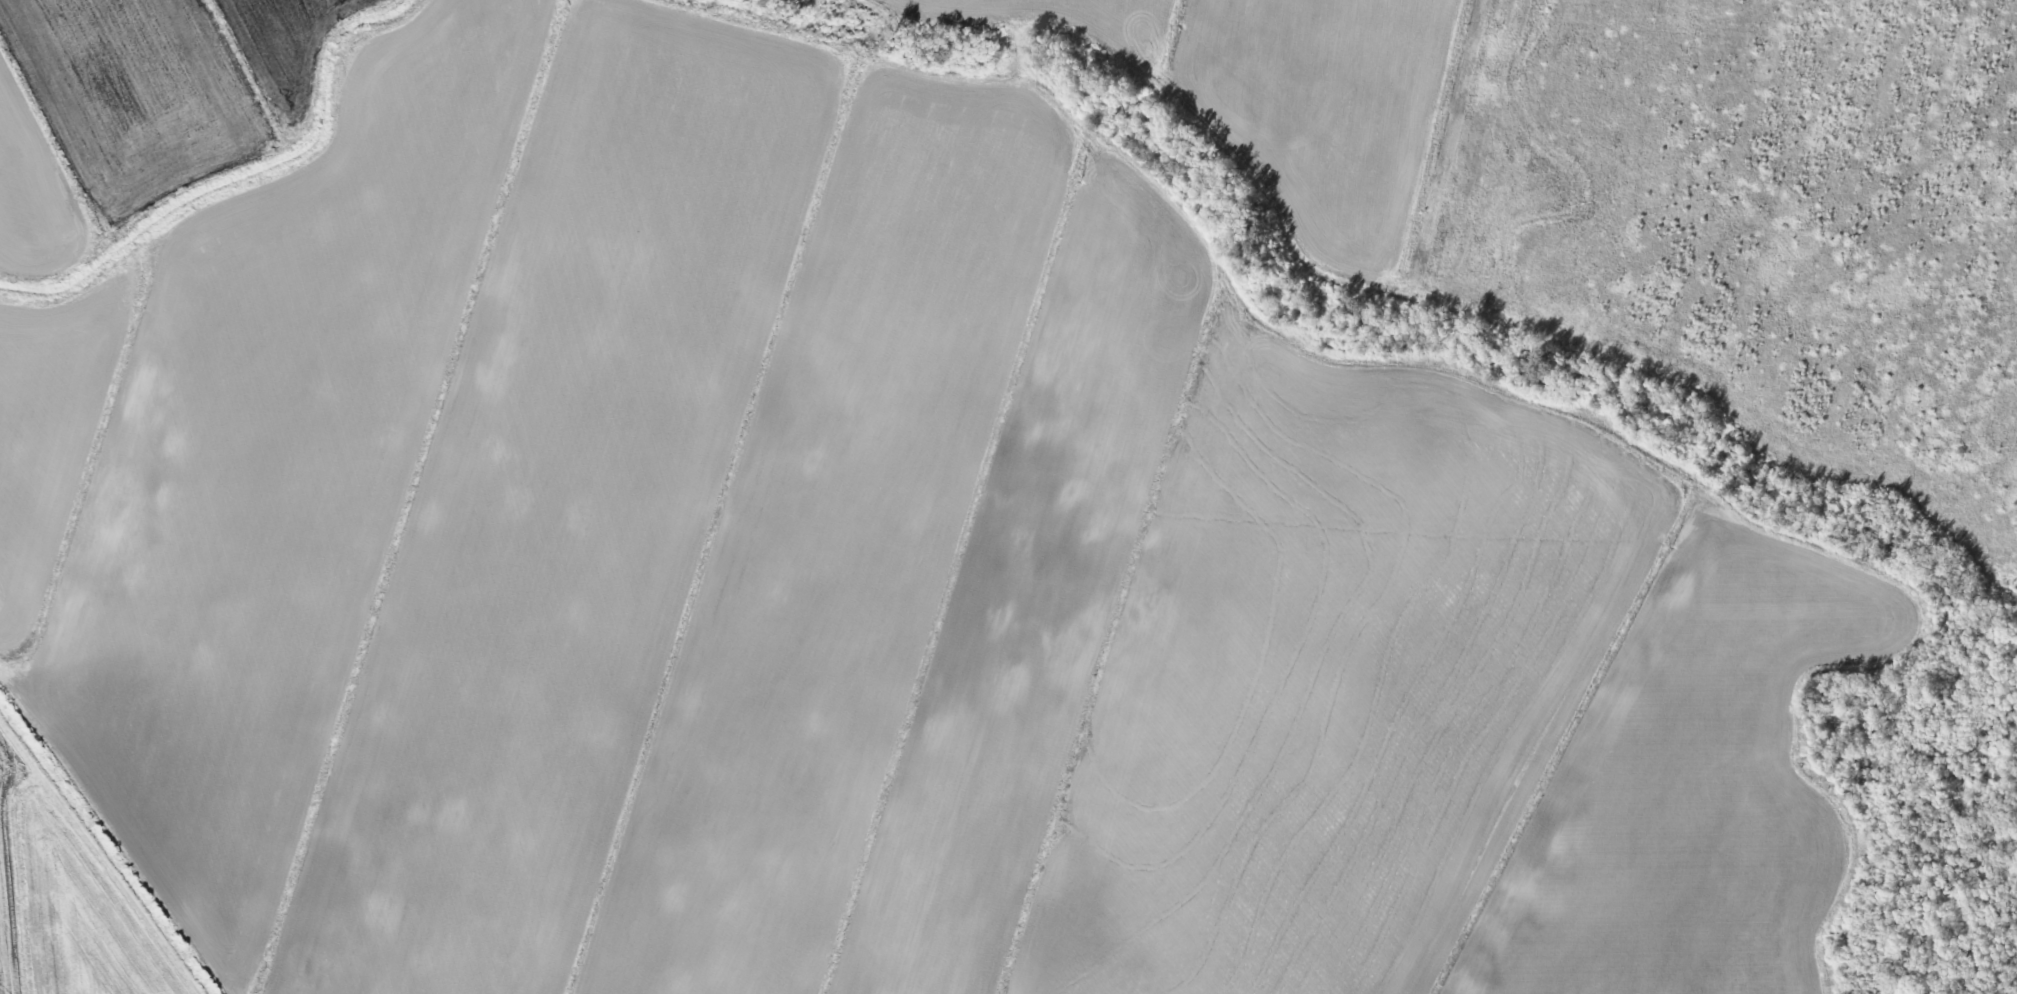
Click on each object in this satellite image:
road: (98, 859)

